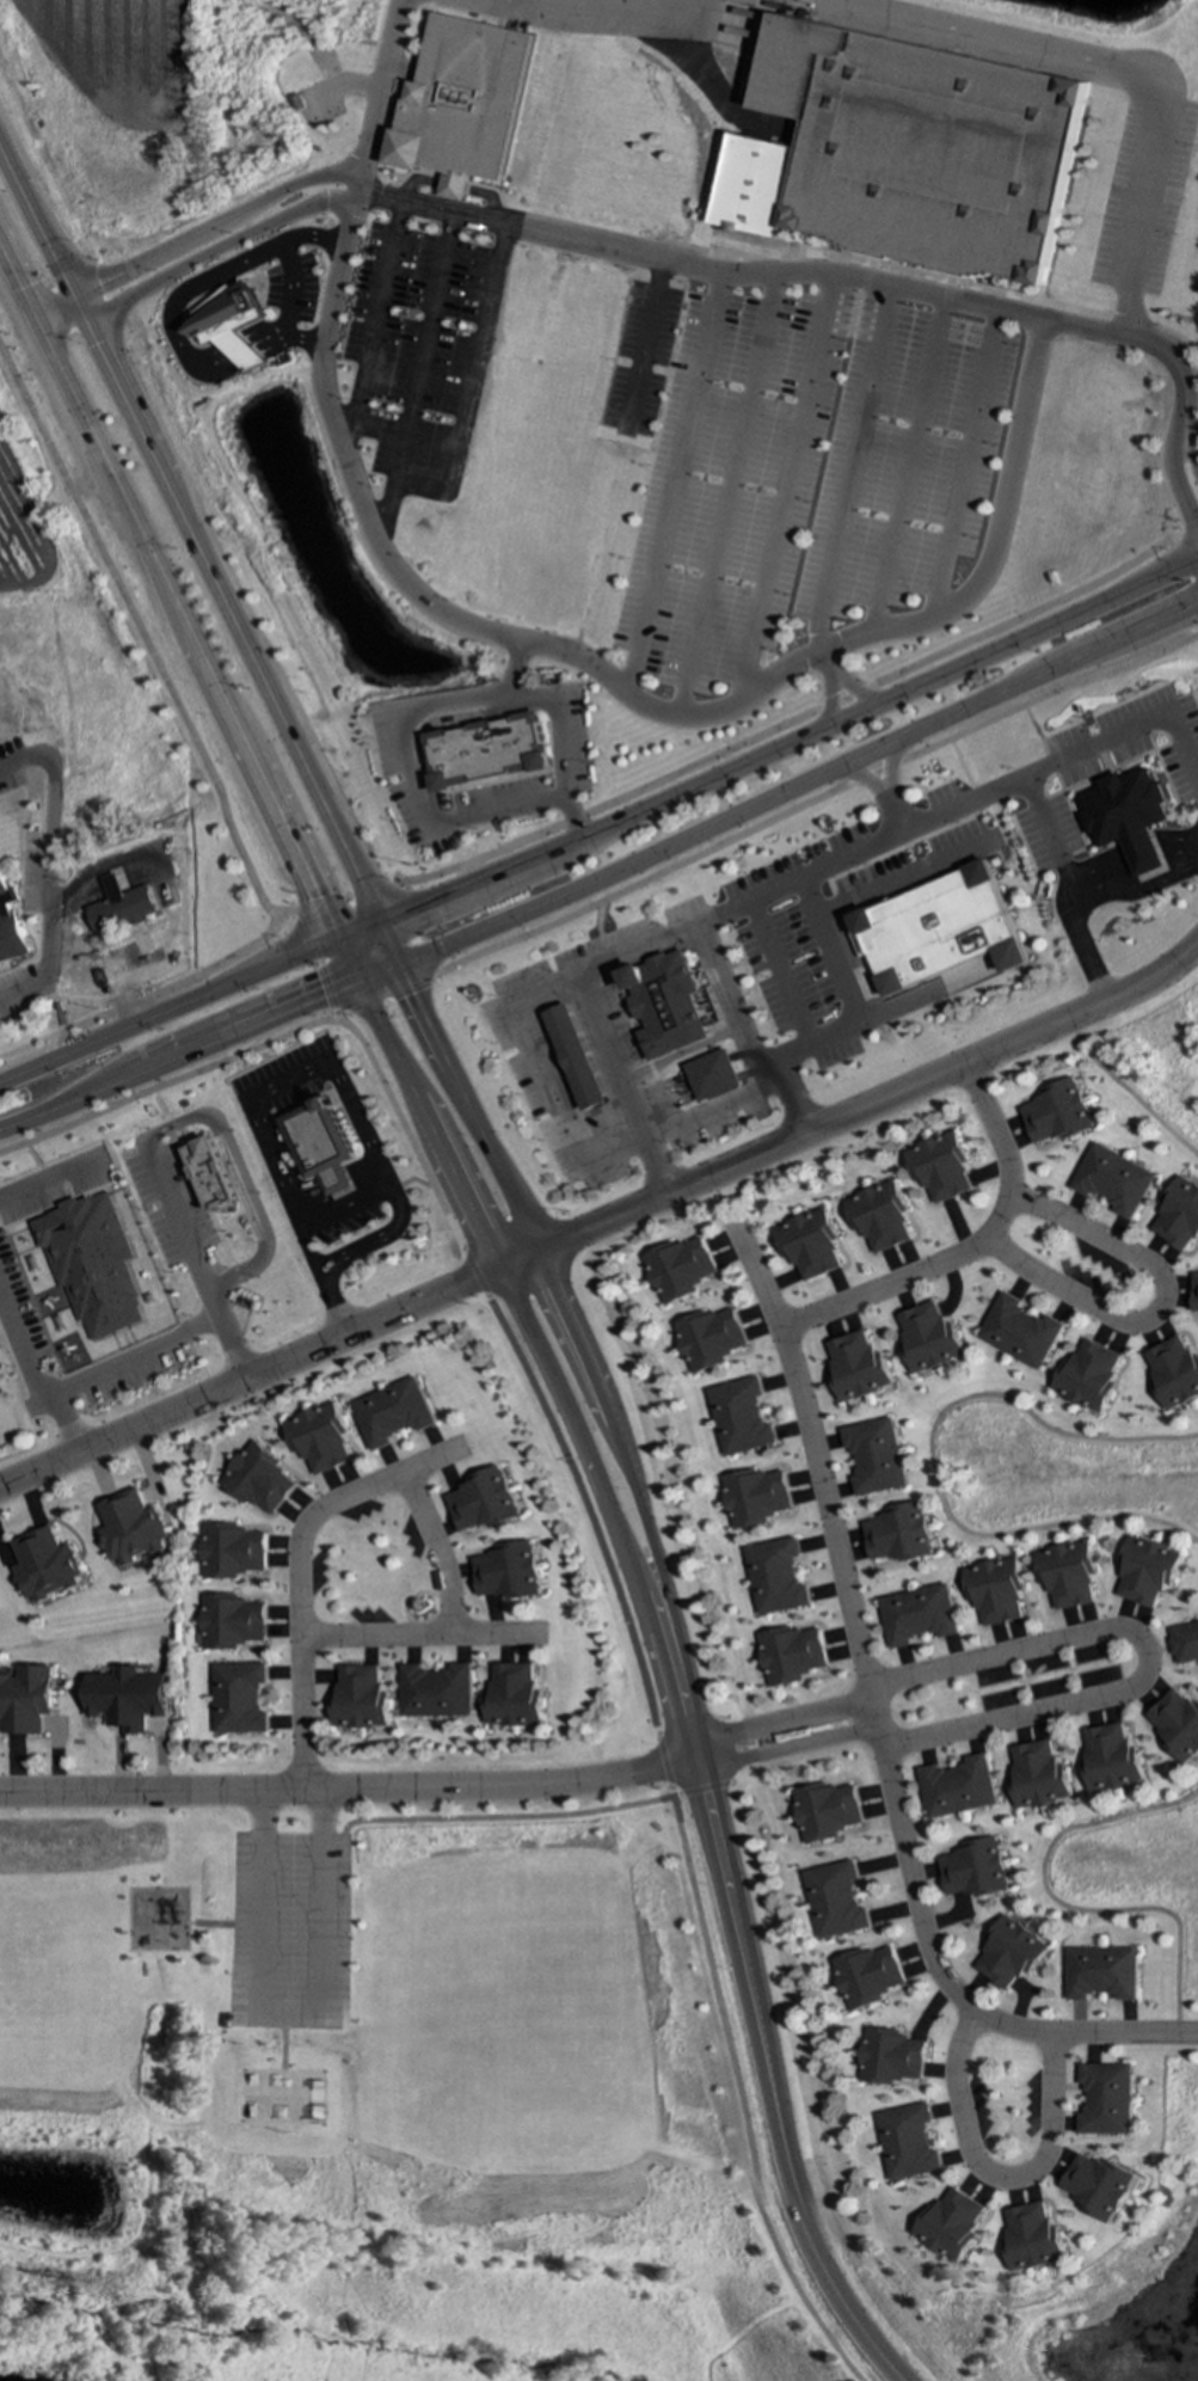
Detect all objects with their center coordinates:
road: (606, 12)
road: (965, 33)
crop: (110, 54)
building: (461, 103)
building: (920, 149)
road: (1143, 196)
road: (308, 235)
road: (189, 240)
road: (195, 262)
road: (836, 274)
road: (287, 288)
traffic signals: (75, 299)
traffic signals: (86, 318)
traffic signals: (26, 323)
road: (166, 323)
building: (228, 324)
road: (299, 338)
road: (412, 379)
road: (669, 486)
road: (779, 487)
road: (721, 496)
road: (368, 536)
road: (990, 540)
crop: (26, 542)
road: (196, 560)
road: (176, 626)
road: (141, 649)
road: (512, 669)
road: (829, 682)
road: (414, 710)
road: (797, 714)
building: (484, 750)
road: (1067, 754)
road: (797, 785)
road: (881, 791)
road: (817, 796)
road: (625, 815)
building: (1124, 816)
road: (47, 847)
road: (1194, 847)
road: (1129, 859)
road: (140, 866)
road: (898, 882)
road: (1067, 886)
road: (344, 896)
building: (122, 907)
traffic signals: (375, 925)
building: (10, 927)
road: (416, 927)
building: (936, 929)
traffic signals: (331, 939)
road: (649, 946)
road: (145, 961)
road: (320, 963)
traffic signals: (397, 969)
road: (84, 972)
road: (778, 974)
road: (375, 976)
road: (182, 982)
traffic signals: (355, 984)
road: (846, 993)
road: (387, 994)
building: (665, 1004)
road: (744, 1038)
road: (33, 1043)
road: (57, 1044)
road: (677, 1054)
building: (577, 1057)
gas station: (577, 1057)
road: (178, 1060)
road: (25, 1072)
building: (713, 1075)
road: (167, 1084)
road: (1125, 1093)
road: (252, 1107)
road: (466, 1109)
building: (1056, 1112)
road: (426, 1124)
building: (320, 1145)
road: (583, 1148)
building: (939, 1166)
road: (238, 1168)
building: (208, 1173)
road: (44, 1178)
building: (1111, 1180)
road: (718, 1202)
building: (1177, 1215)
building: (878, 1216)
road: (604, 1219)
building: (807, 1244)
road: (965, 1247)
road: (302, 1248)
road: (344, 1256)
road: (196, 1258)
building: (90, 1263)
building: (678, 1269)
building: (1193, 1293)
road: (1151, 1306)
building: (1018, 1332)
building: (709, 1338)
building: (927, 1338)
road: (21, 1356)
building: (854, 1366)
road: (110, 1367)
building: (1173, 1373)
building: (1087, 1375)
building: (394, 1412)
building: (739, 1417)
building: (321, 1437)
building: (873, 1456)
road: (927, 1458)
road: (626, 1477)
building: (262, 1479)
road: (600, 1486)
building: (754, 1497)
building: (484, 1501)
building: (133, 1528)
building: (896, 1534)
building: (234, 1551)
building: (49, 1565)
road: (300, 1567)
building: (506, 1571)
building: (1145, 1571)
building: (1065, 1573)
building: (774, 1577)
building: (994, 1590)
road: (444, 1595)
building: (917, 1615)
building: (233, 1621)
road: (371, 1637)
building: (1184, 1643)
road: (1138, 1651)
building: (790, 1655)
road: (640, 1685)
building: (436, 1692)
building: (512, 1696)
building: (129, 1698)
building: (240, 1698)
building: (27, 1699)
building: (360, 1699)
road: (773, 1716)
building: (1175, 1724)
road: (880, 1735)
road: (785, 1747)
building: (1110, 1759)
building: (1037, 1775)
building: (957, 1787)
road: (345, 1788)
building: (827, 1811)
road: (489, 1817)
building: (975, 1868)
building: (835, 1900)
road: (1059, 1904)
building: (1009, 1953)
building: (1100, 1972)
building: (868, 1976)
road: (287, 2012)
building: (890, 2057)
road: (758, 2062)
park: (284, 2097)
building: (1106, 2099)
park: (383, 2103)
building: (908, 2142)
road: (995, 2180)
building: (1100, 2186)
building: (952, 2224)
building: (1034, 2238)

